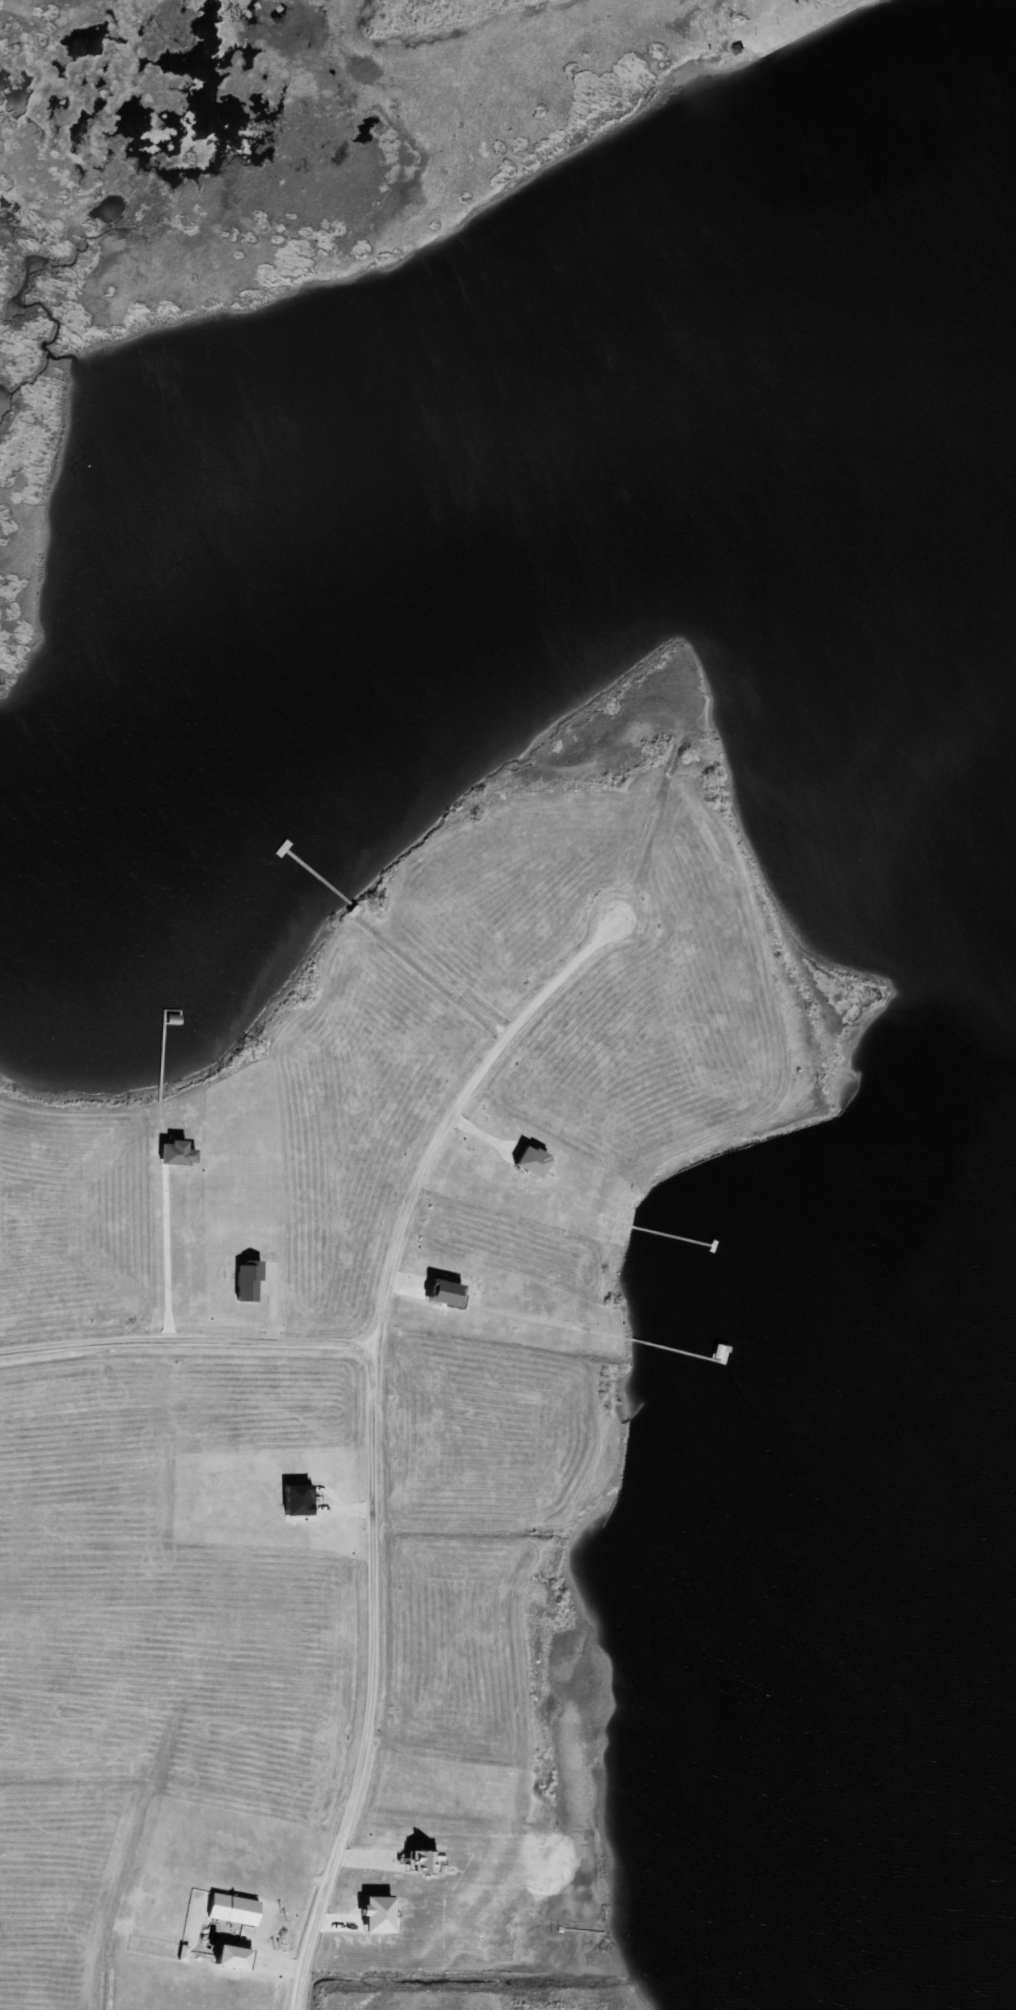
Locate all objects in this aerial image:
building: (182, 1154)
building: (537, 1161)
building: (252, 1280)
building: (451, 1293)
building: (237, 1910)
building: (238, 1959)

